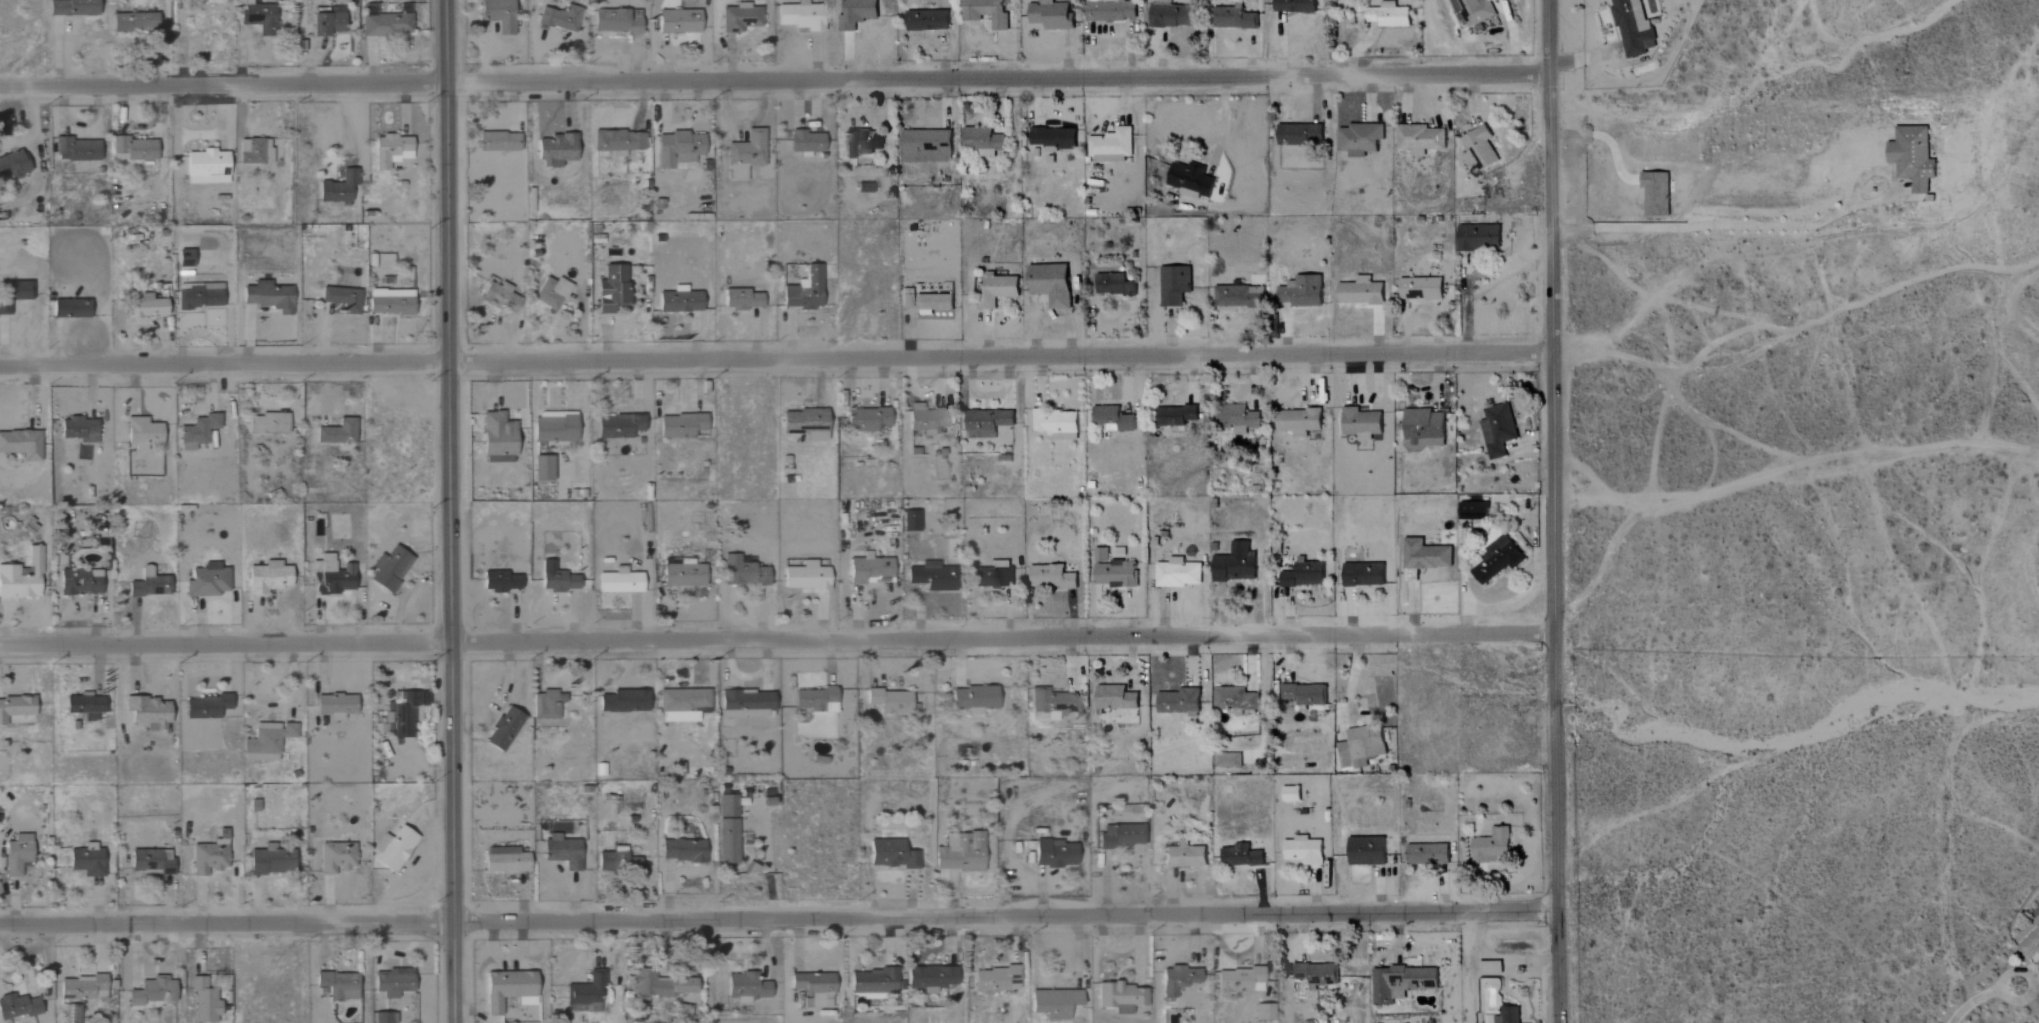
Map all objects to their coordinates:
building: (1295, 6)
building: (72, 8)
building: (1475, 10)
building: (1117, 11)
building: (986, 12)
building: (856, 13)
building: (498, 14)
building: (1389, 15)
building: (800, 16)
building: (1173, 16)
building: (1234, 16)
building: (260, 18)
building: (561, 18)
building: (739, 18)
building: (928, 20)
building: (616, 21)
building: (678, 21)
building: (133, 22)
building: (327, 23)
building: (387, 23)
building: (1633, 27)
road: (774, 82)
building: (1299, 134)
building: (1054, 139)
building: (1360, 139)
building: (1421, 139)
building: (619, 141)
building: (982, 141)
building: (498, 142)
building: (807, 142)
building: (860, 142)
building: (926, 146)
building: (1112, 146)
building: (1480, 148)
building: (133, 149)
building: (76, 150)
building: (390, 150)
building: (557, 150)
building: (678, 150)
building: (254, 151)
building: (745, 155)
building: (1912, 156)
building: (12, 164)
building: (207, 167)
building: (1191, 180)
building: (338, 188)
building: (1656, 194)
road: (1765, 226)
building: (1477, 237)
building: (185, 258)
building: (1051, 284)
building: (1114, 285)
building: (1174, 285)
building: (15, 289)
building: (611, 289)
building: (1421, 289)
building: (804, 291)
building: (998, 291)
building: (1302, 292)
building: (1361, 292)
building: (551, 293)
building: (201, 294)
building: (500, 296)
building: (1239, 296)
building: (267, 297)
building: (342, 298)
building: (907, 298)
building: (743, 299)
building: (679, 301)
building: (390, 302)
building: (146, 306)
building: (70, 309)
road: (776, 361)
building: (1176, 415)
building: (1113, 418)
building: (1238, 418)
building: (867, 420)
building: (925, 420)
building: (988, 422)
building: (1299, 422)
building: (270, 423)
building: (807, 423)
building: (1362, 423)
building: (1057, 424)
building: (681, 425)
building: (619, 426)
building: (78, 429)
building: (555, 429)
building: (1498, 429)
building: (1424, 430)
building: (197, 432)
building: (141, 433)
building: (337, 433)
building: (497, 438)
building: (21, 445)
building: (542, 469)
road: (452, 511)
building: (1473, 511)
road: (1554, 511)
building: (911, 521)
building: (1425, 555)
building: (1497, 559)
building: (1235, 564)
building: (390, 569)
building: (868, 569)
building: (1113, 571)
building: (744, 572)
building: (1177, 574)
building: (684, 575)
building: (1304, 575)
building: (1363, 575)
building: (330, 576)
building: (993, 576)
building: (22, 577)
building: (806, 577)
building: (932, 577)
building: (1051, 577)
building: (267, 578)
building: (557, 579)
building: (207, 582)
building: (499, 582)
building: (619, 582)
building: (79, 583)
building: (148, 584)
road: (778, 642)
building: (1304, 696)
building: (1116, 698)
building: (814, 699)
building: (974, 699)
building: (683, 701)
building: (890, 701)
building: (624, 702)
building: (1179, 702)
building: (747, 704)
building: (1053, 704)
building: (546, 705)
building: (85, 706)
building: (335, 706)
building: (205, 707)
building: (15, 708)
building: (147, 713)
building: (405, 715)
building: (386, 722)
building: (504, 729)
building: (266, 741)
building: (1366, 745)
building: (1344, 755)
building: (1227, 760)
building: (1291, 794)
building: (767, 798)
building: (727, 829)
building: (1121, 836)
building: (1492, 848)
building: (395, 849)
building: (1367, 850)
building: (683, 851)
building: (1303, 851)
building: (562, 852)
building: (960, 853)
building: (1055, 854)
building: (1428, 854)
building: (17, 855)
building: (892, 855)
building: (1184, 855)
building: (1241, 856)
building: (208, 857)
building: (336, 858)
building: (87, 861)
building: (152, 861)
building: (506, 861)
building: (617, 861)
building: (272, 862)
road: (778, 921)
building: (2031, 946)
building: (1491, 968)
building: (1316, 974)
building: (931, 977)
building: (997, 978)
building: (1179, 978)
building: (1240, 979)
building: (873, 980)
building: (1402, 981)
building: (393, 983)
building: (660, 984)
building: (338, 986)
building: (747, 987)
building: (84, 988)
building: (814, 988)
building: (507, 989)
building: (152, 992)
building: (586, 992)
road: (2027, 994)
building: (1120, 996)
building: (204, 1002)
road: (1972, 1002)
building: (1054, 1003)
building: (17, 1007)
building: (1264, 1013)
building: (1508, 1015)
building: (384, 1018)

